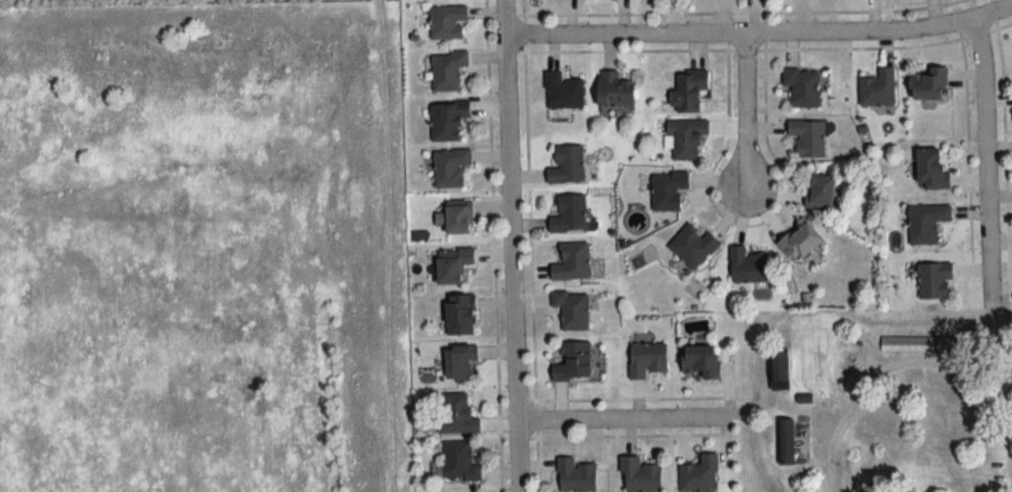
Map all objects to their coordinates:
building: (447, 22)
road: (760, 38)
building: (447, 70)
building: (928, 85)
building: (802, 87)
building: (878, 89)
building: (614, 91)
building: (688, 91)
building: (563, 92)
road: (747, 117)
building: (447, 122)
building: (808, 138)
building: (687, 141)
building: (567, 165)
road: (984, 166)
building: (450, 167)
building: (932, 171)
building: (668, 191)
building: (820, 193)
building: (569, 215)
building: (458, 219)
building: (927, 223)
building: (801, 243)
road: (509, 246)
building: (693, 247)
building: (572, 263)
building: (452, 266)
building: (747, 266)
building: (934, 281)
building: (572, 310)
building: (460, 315)
building: (805, 331)
building: (946, 344)
building: (646, 359)
building: (701, 361)
building: (573, 363)
building: (460, 364)
road: (887, 368)
building: (779, 370)
building: (457, 416)
road: (624, 421)
building: (785, 442)
building: (459, 462)
building: (640, 475)
building: (698, 475)
building: (575, 476)

